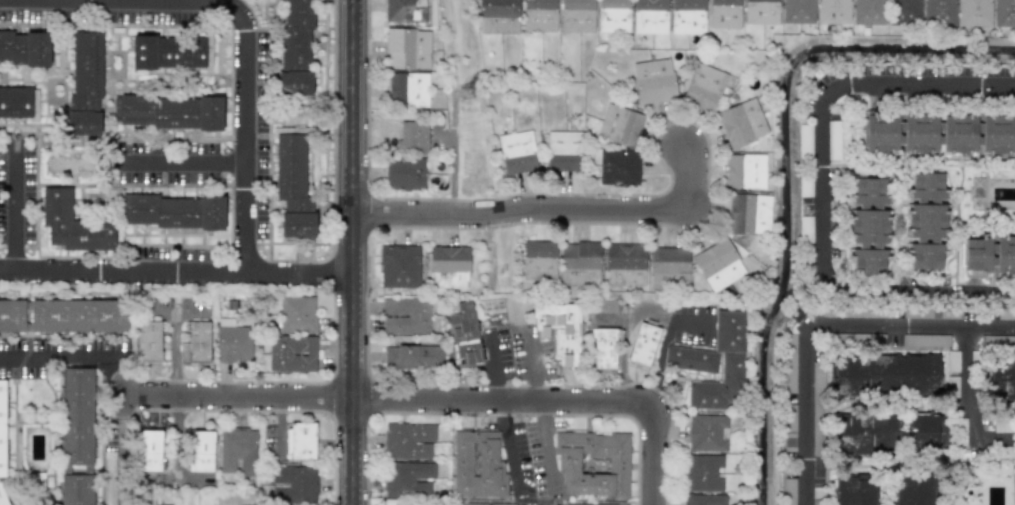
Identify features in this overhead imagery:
building: (405, 11)
building: (798, 11)
building: (834, 11)
building: (905, 11)
building: (761, 12)
building: (868, 12)
building: (939, 13)
building: (974, 13)
building: (1004, 13)
building: (725, 14)
building: (539, 15)
building: (498, 16)
building: (577, 16)
building: (614, 16)
building: (650, 16)
building: (688, 16)
building: (25, 48)
building: (296, 49)
building: (408, 49)
building: (171, 52)
building: (654, 80)
building: (85, 84)
building: (704, 86)
building: (408, 88)
power tower: (460, 93)
road: (243, 97)
building: (19, 103)
building: (172, 112)
building: (742, 123)
building: (620, 124)
building: (939, 134)
building: (413, 137)
building: (833, 140)
building: (805, 142)
building: (563, 151)
building: (517, 152)
road: (182, 163)
building: (618, 166)
building: (745, 171)
building: (405, 174)
building: (293, 183)
road: (820, 187)
building: (805, 190)
road: (15, 205)
building: (173, 211)
road: (552, 211)
building: (749, 213)
building: (926, 220)
building: (72, 224)
building: (869, 225)
road: (351, 252)
building: (989, 256)
building: (539, 260)
building: (580, 263)
building: (625, 264)
building: (718, 264)
building: (399, 266)
building: (447, 266)
building: (669, 267)
road: (122, 270)
road: (322, 272)
road: (269, 273)
building: (932, 313)
building: (1006, 313)
building: (297, 314)
building: (76, 315)
building: (406, 315)
building: (796, 315)
building: (12, 316)
road: (819, 324)
building: (729, 329)
building: (560, 331)
building: (465, 333)
building: (840, 337)
building: (878, 338)
building: (925, 340)
building: (150, 341)
building: (232, 341)
building: (997, 341)
building: (198, 342)
building: (643, 344)
building: (604, 348)
road: (665, 349)
building: (291, 353)
road: (73, 357)
road: (179, 357)
building: (413, 357)
building: (952, 361)
building: (790, 363)
road: (493, 367)
road: (532, 370)
building: (885, 375)
building: (1002, 377)
road: (966, 379)
building: (952, 385)
road: (236, 398)
road: (551, 402)
road: (121, 405)
building: (817, 409)
building: (77, 416)
building: (790, 428)
building: (708, 432)
building: (886, 433)
building: (409, 440)
building: (300, 441)
building: (2, 443)
road: (547, 445)
road: (509, 447)
building: (150, 450)
building: (201, 451)
building: (237, 451)
road: (121, 461)
building: (593, 463)
building: (478, 465)
building: (702, 472)
building: (407, 479)
building: (295, 484)
building: (77, 489)
building: (855, 490)
building: (915, 490)
building: (789, 491)
building: (704, 499)
building: (488, 502)
building: (609, 504)

